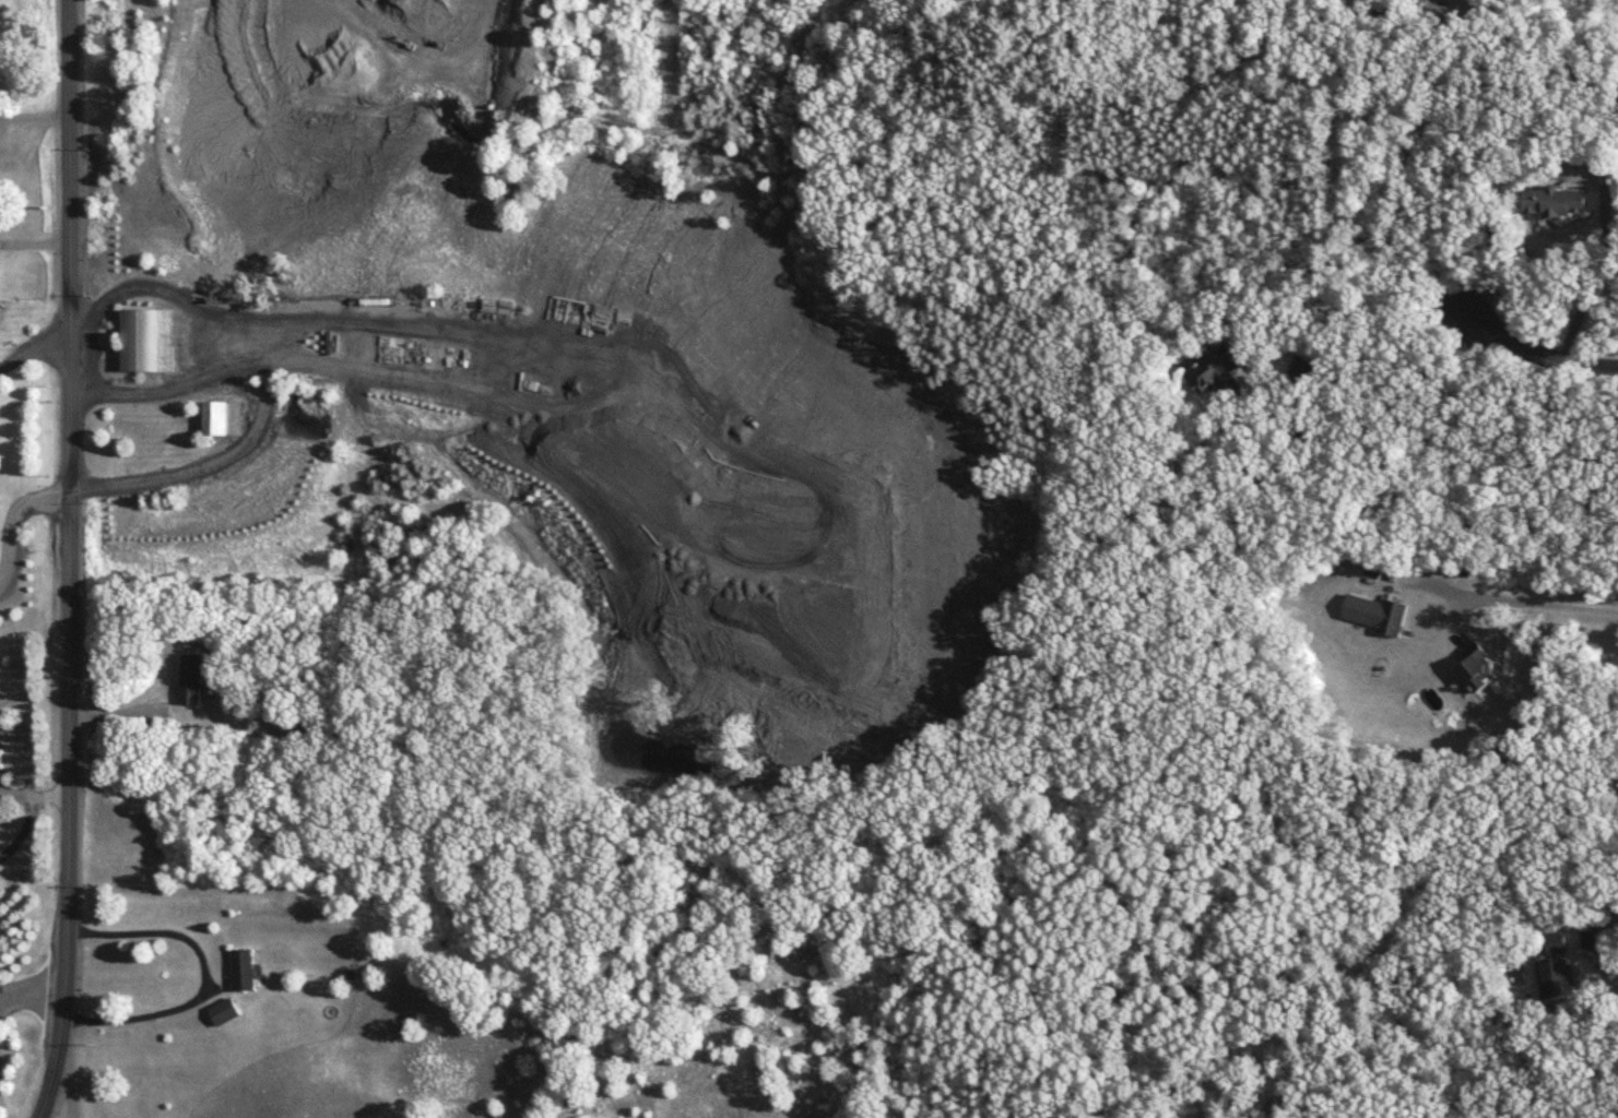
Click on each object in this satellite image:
road: (34, 120)
building: (1557, 204)
road: (34, 246)
road: (1191, 281)
road: (200, 336)
road: (34, 340)
building: (150, 342)
road: (1533, 352)
building: (1217, 377)
building: (224, 420)
road: (1290, 466)
road: (12, 523)
road: (69, 531)
road: (1526, 602)
building: (1377, 615)
building: (1485, 674)
building: (193, 680)
road: (125, 713)
road: (27, 810)
building: (1560, 950)
road: (1607, 952)
building: (245, 972)
road: (206, 976)
building: (1560, 982)
road: (32, 994)
building: (226, 1014)
road: (47, 1090)
road: (67, 1090)

